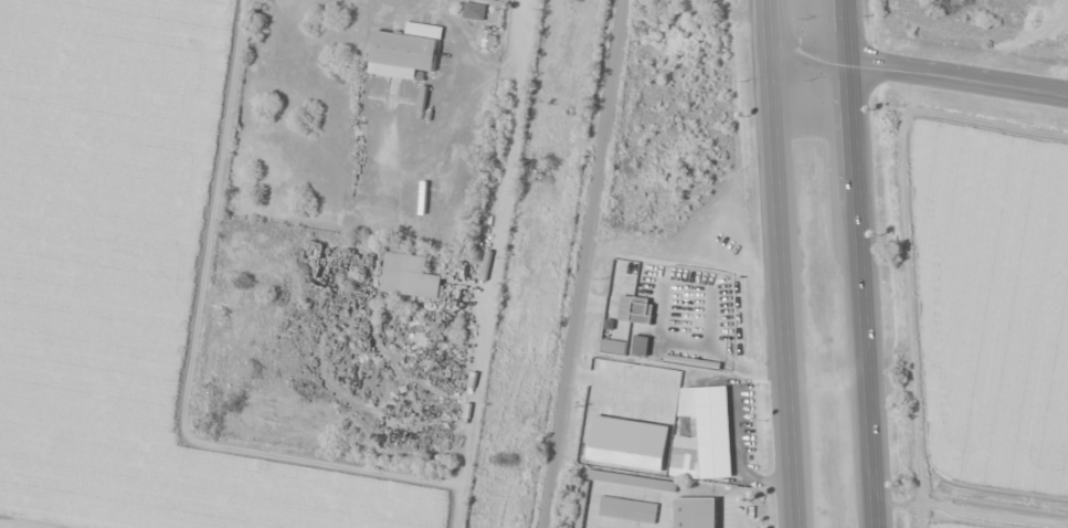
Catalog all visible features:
building: (474, 10)
building: (486, 38)
building: (405, 49)
road: (922, 73)
road: (584, 264)
road: (790, 264)
road: (852, 264)
building: (410, 275)
building: (636, 309)
building: (641, 345)
building: (706, 434)
building: (633, 481)
building: (628, 508)
building: (696, 513)

